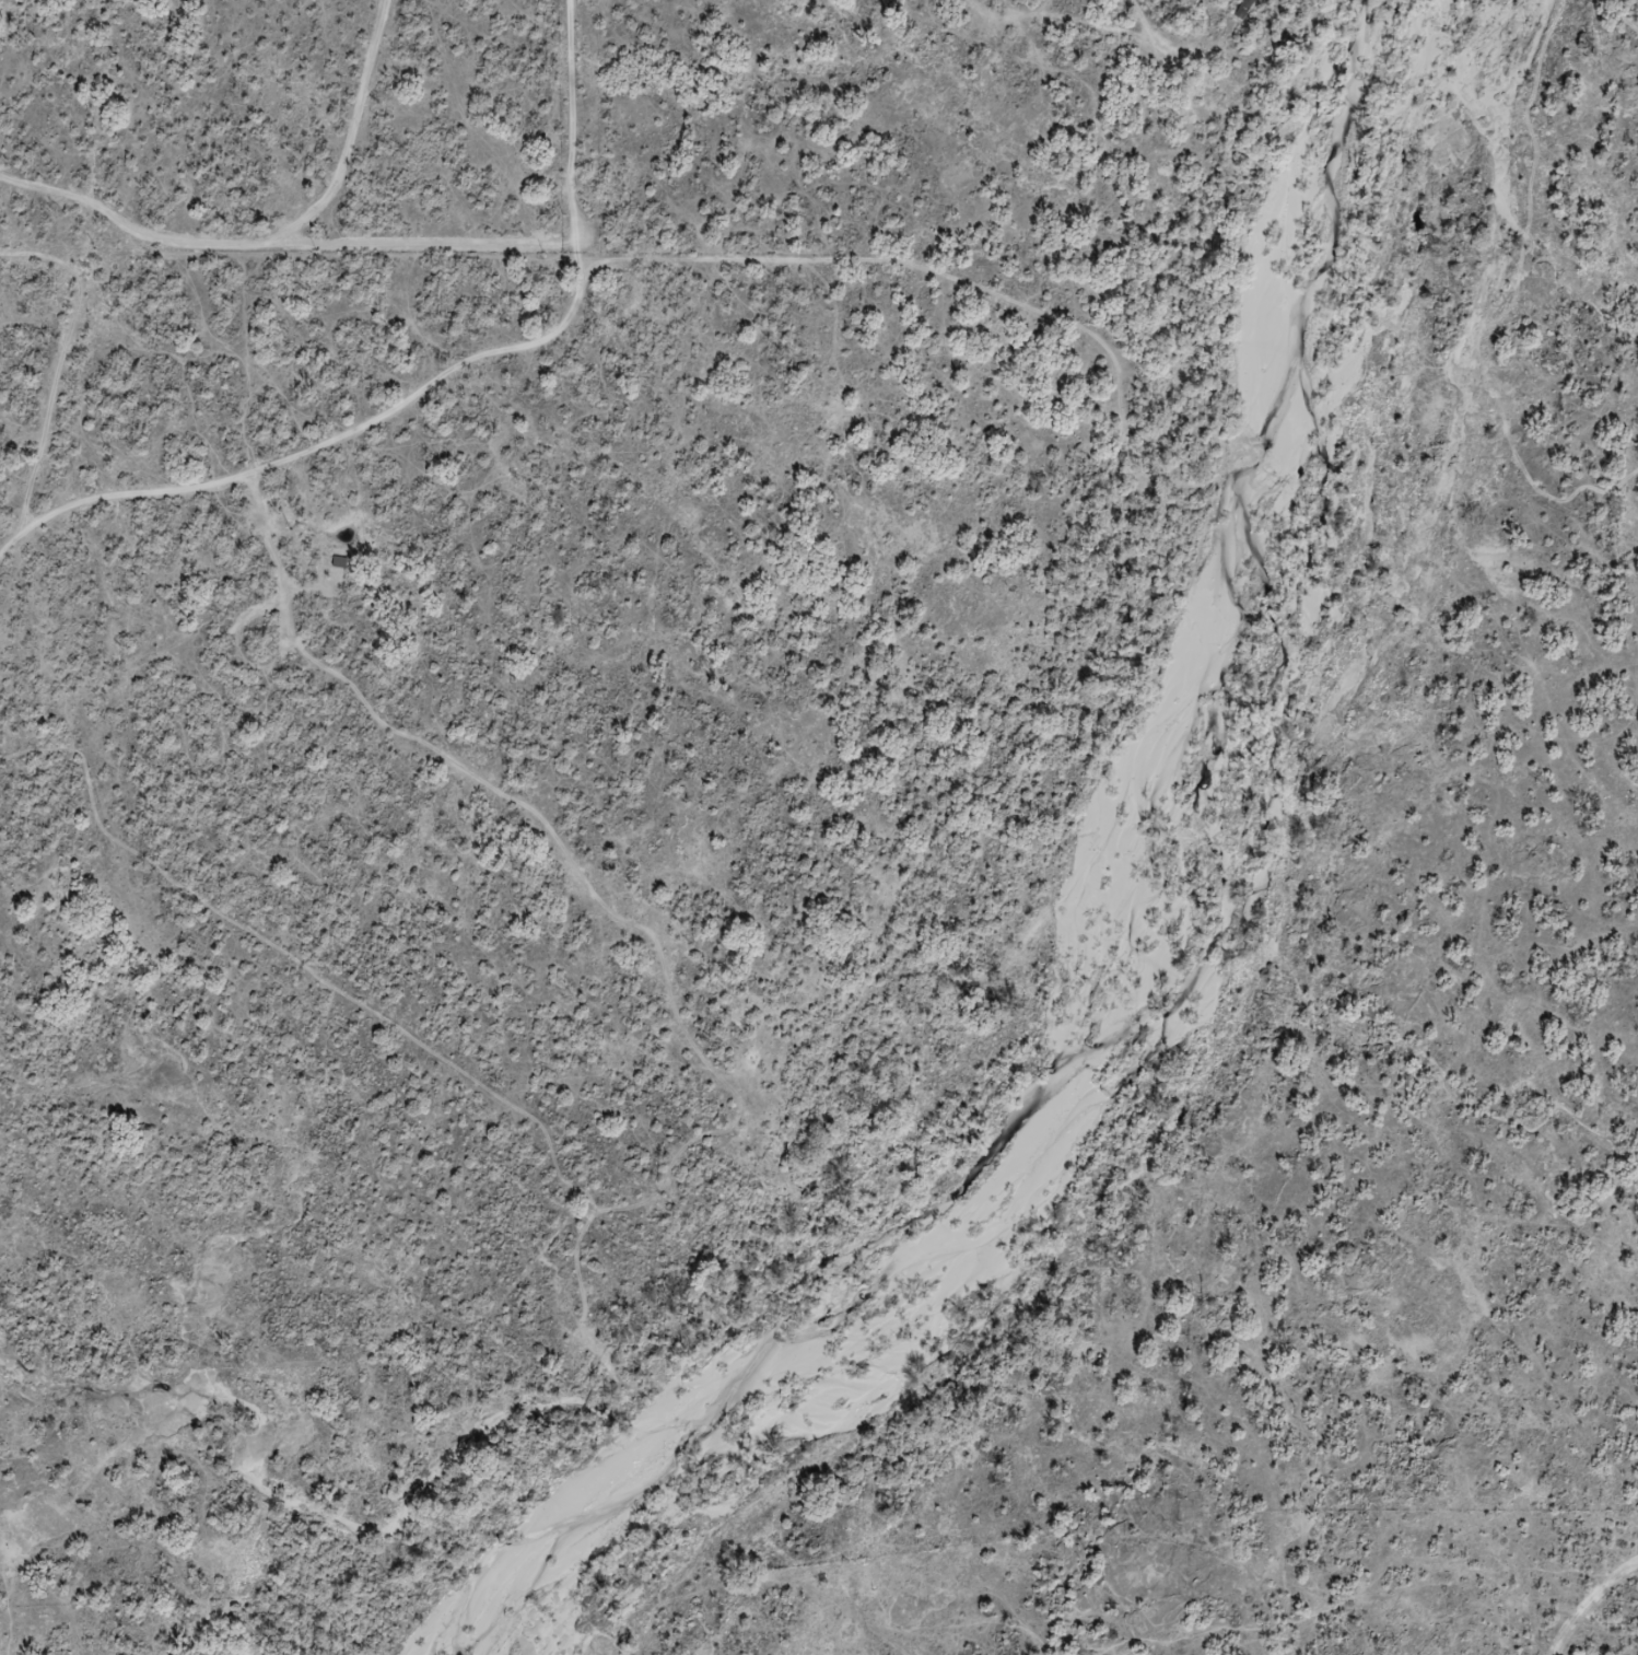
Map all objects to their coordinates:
building: (1245, 9)
building: (339, 563)

